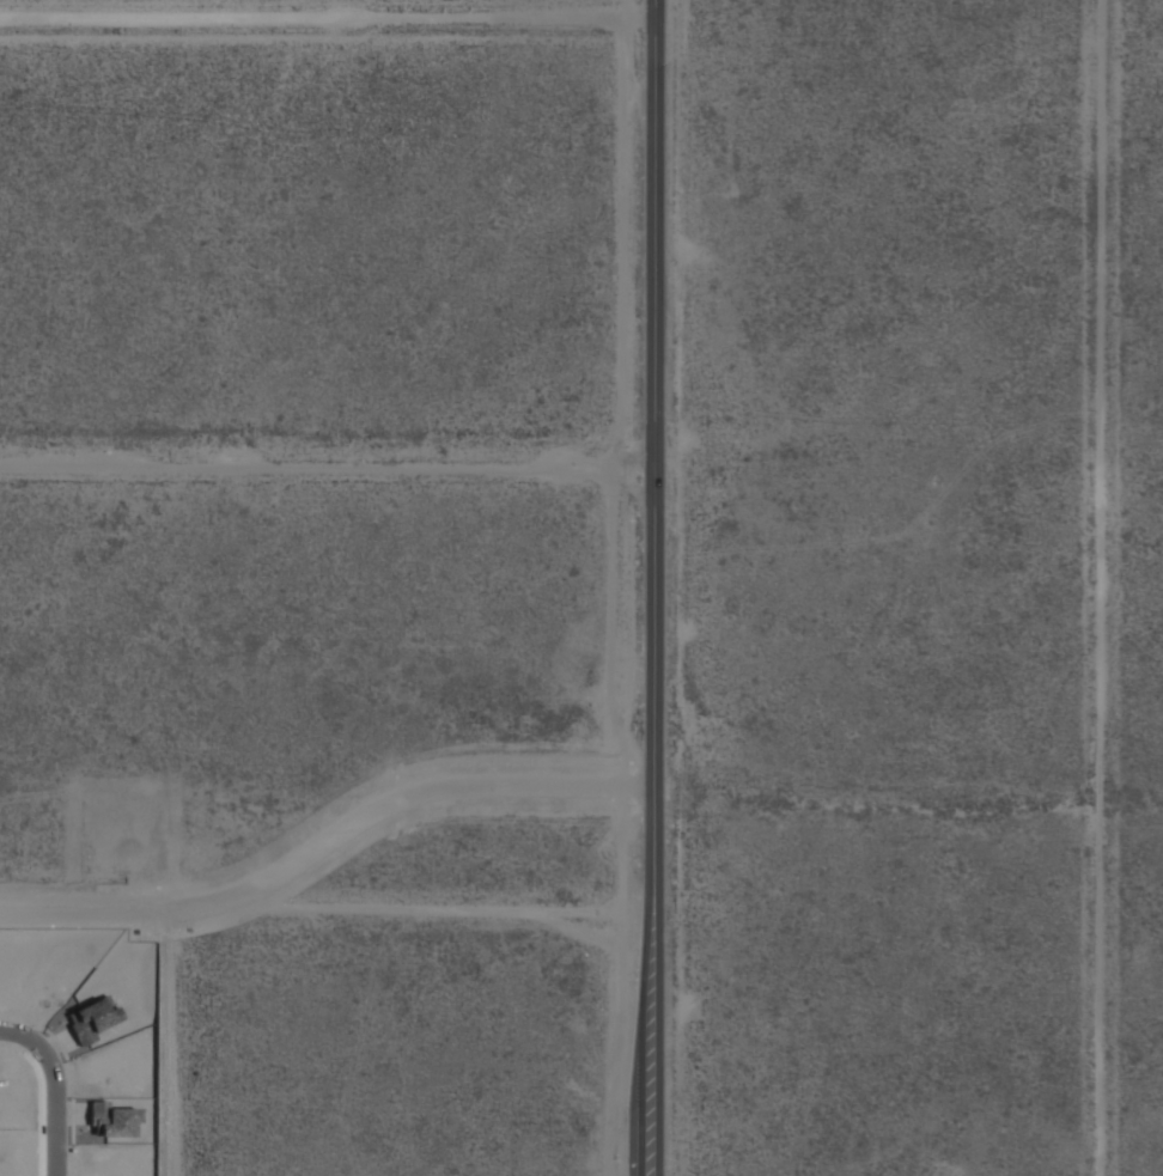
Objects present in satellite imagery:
road: (657, 587)
road: (1109, 587)
road: (330, 849)
road: (67, 1080)

